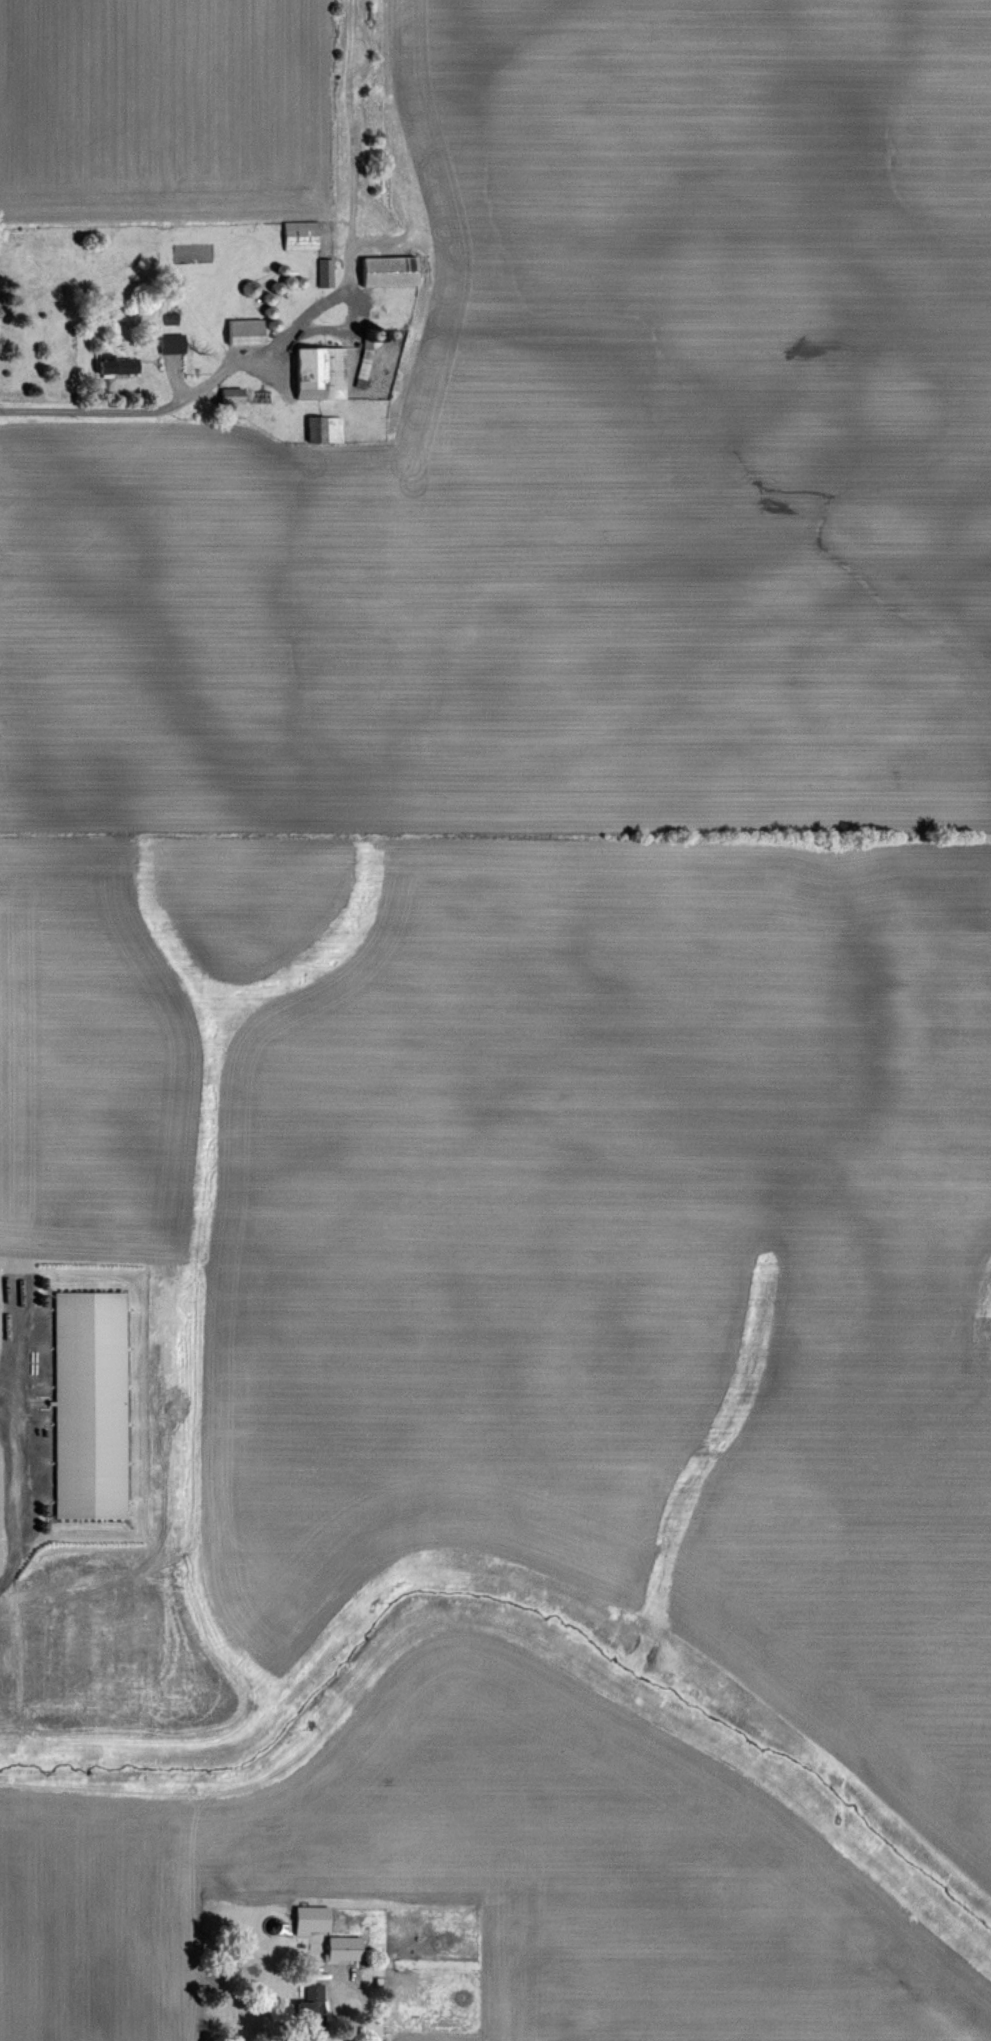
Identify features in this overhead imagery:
building: (297, 236)
building: (385, 272)
building: (245, 288)
building: (242, 332)
building: (168, 343)
building: (112, 365)
building: (315, 373)
building: (228, 396)
road: (151, 410)
building: (321, 429)
crop: (497, 1010)
road: (17, 1337)
road: (17, 1478)
building: (340, 1950)
road: (343, 2010)
building: (308, 2011)

